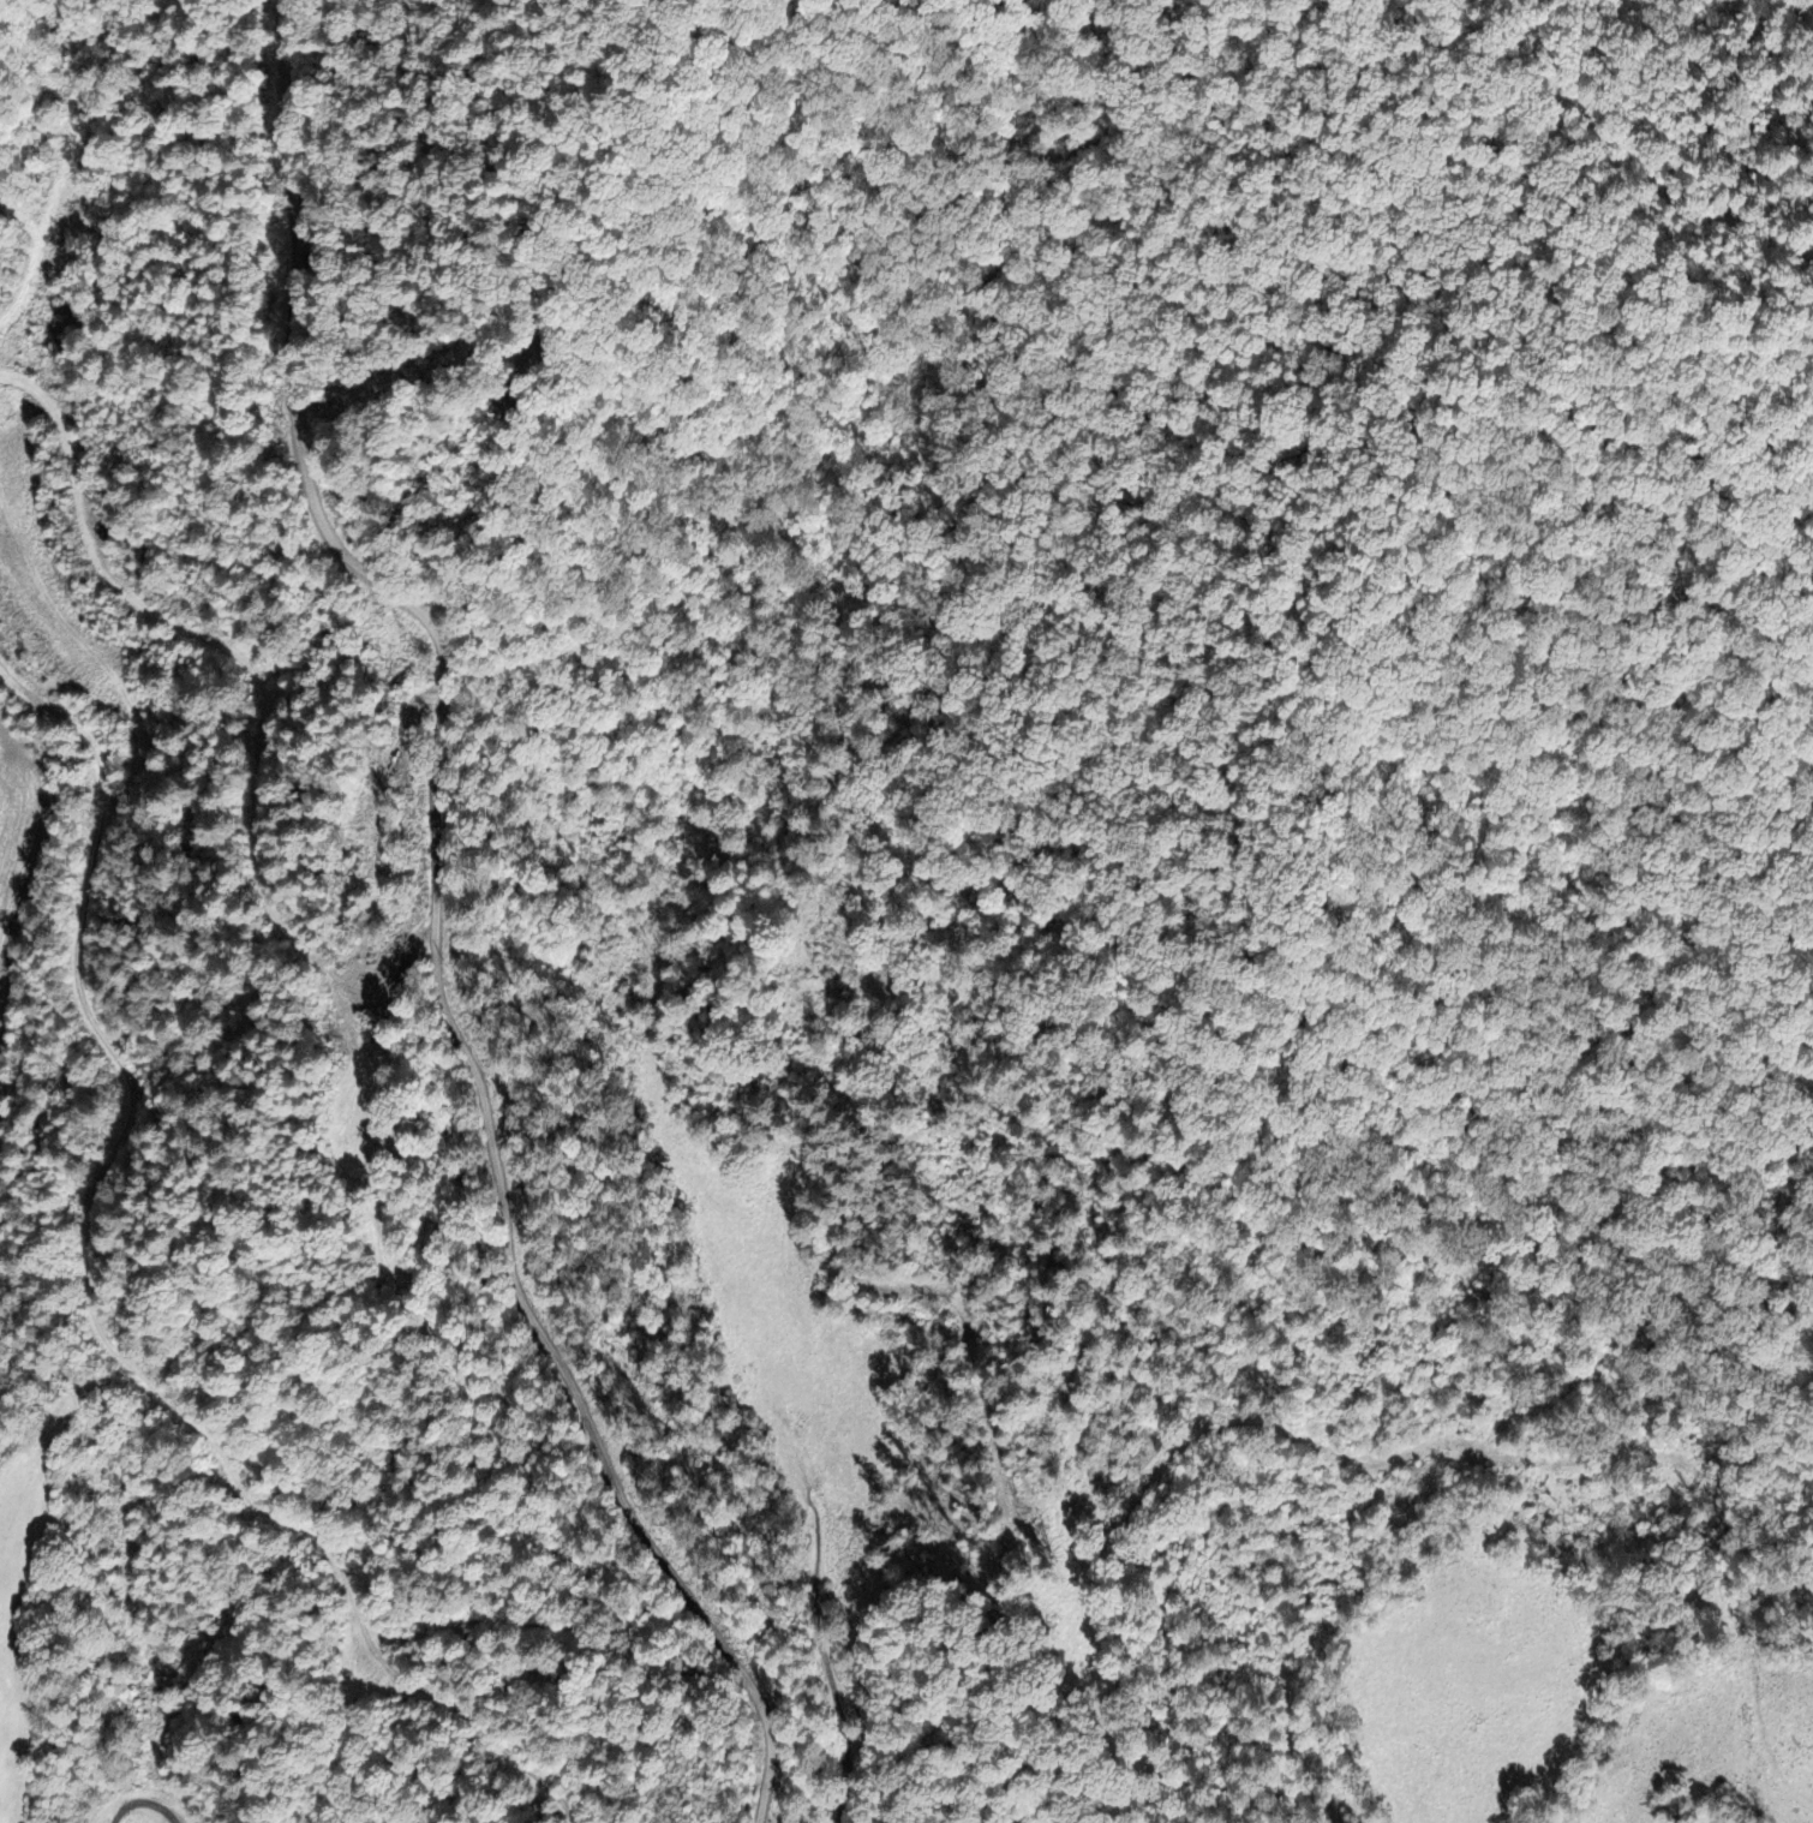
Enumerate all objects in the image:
road: (557, 181)
road: (347, 558)
road: (606, 1462)
road: (144, 1806)

